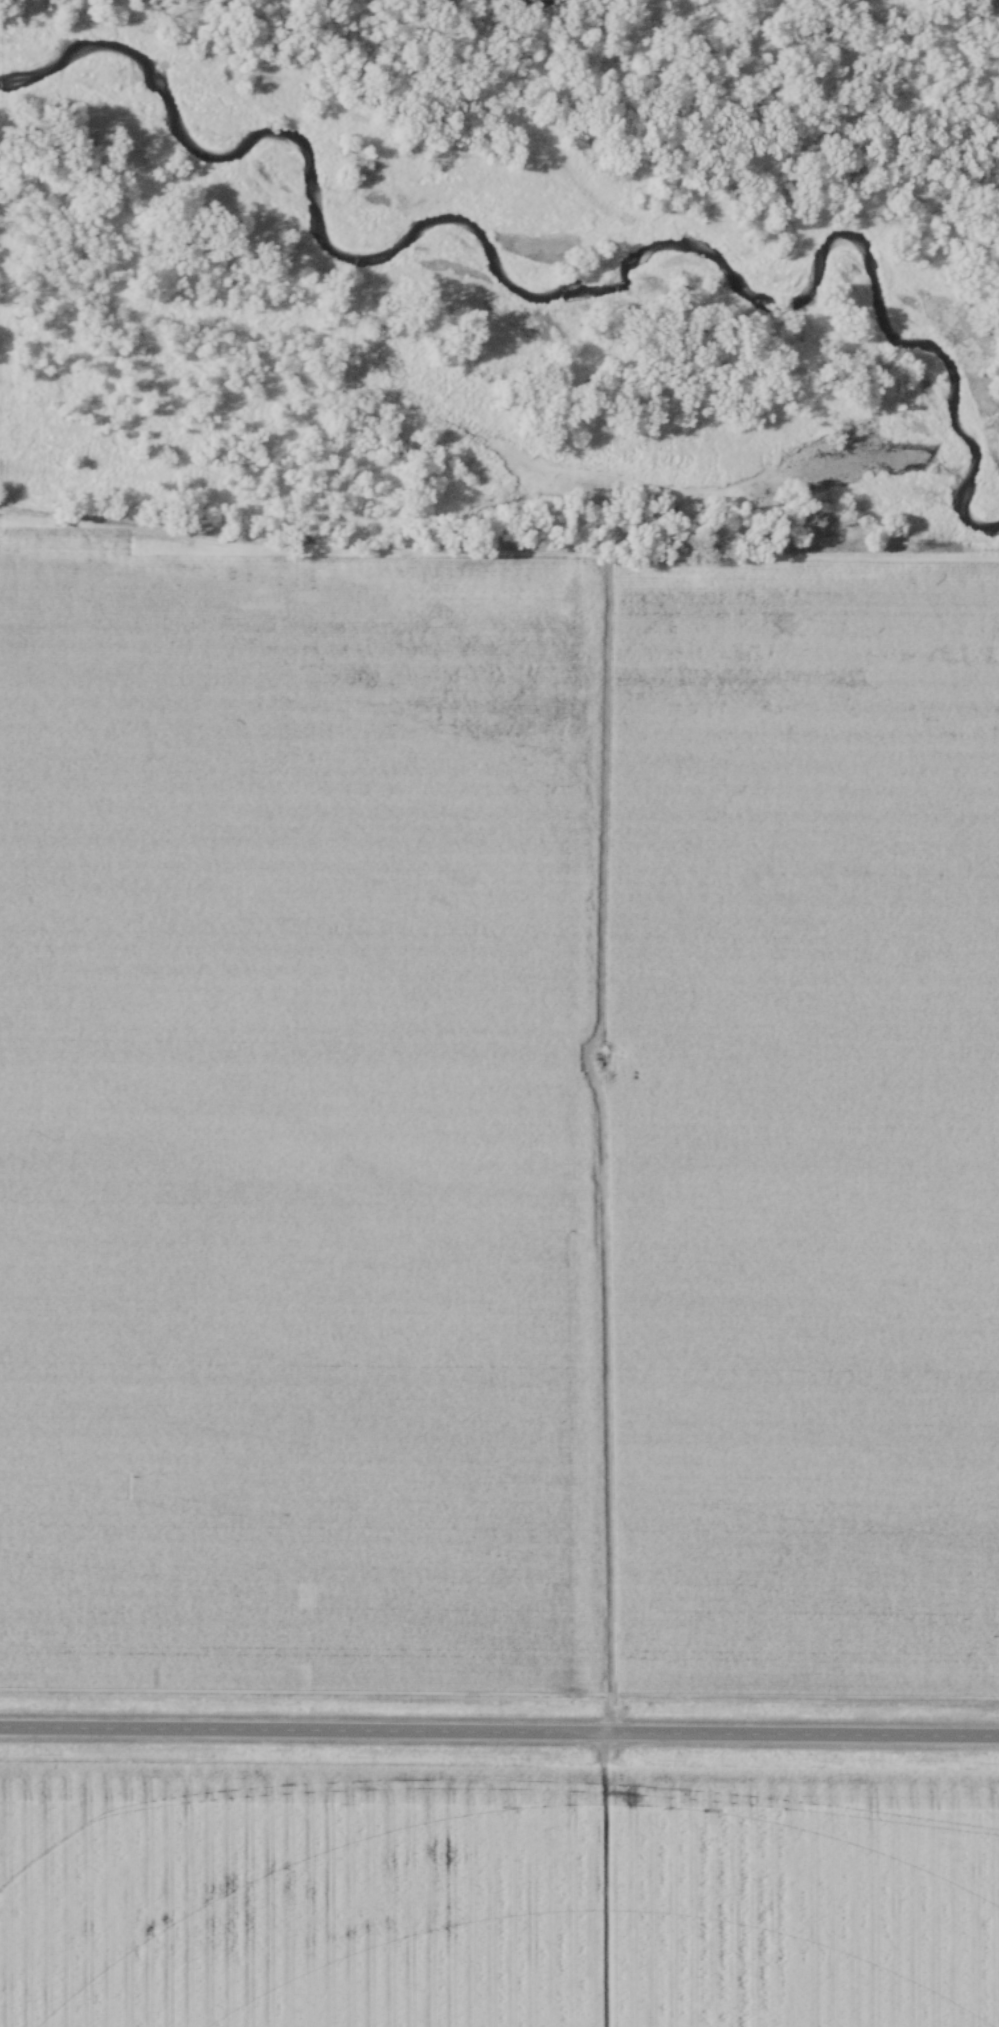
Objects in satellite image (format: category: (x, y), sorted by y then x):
road: (499, 1735)

